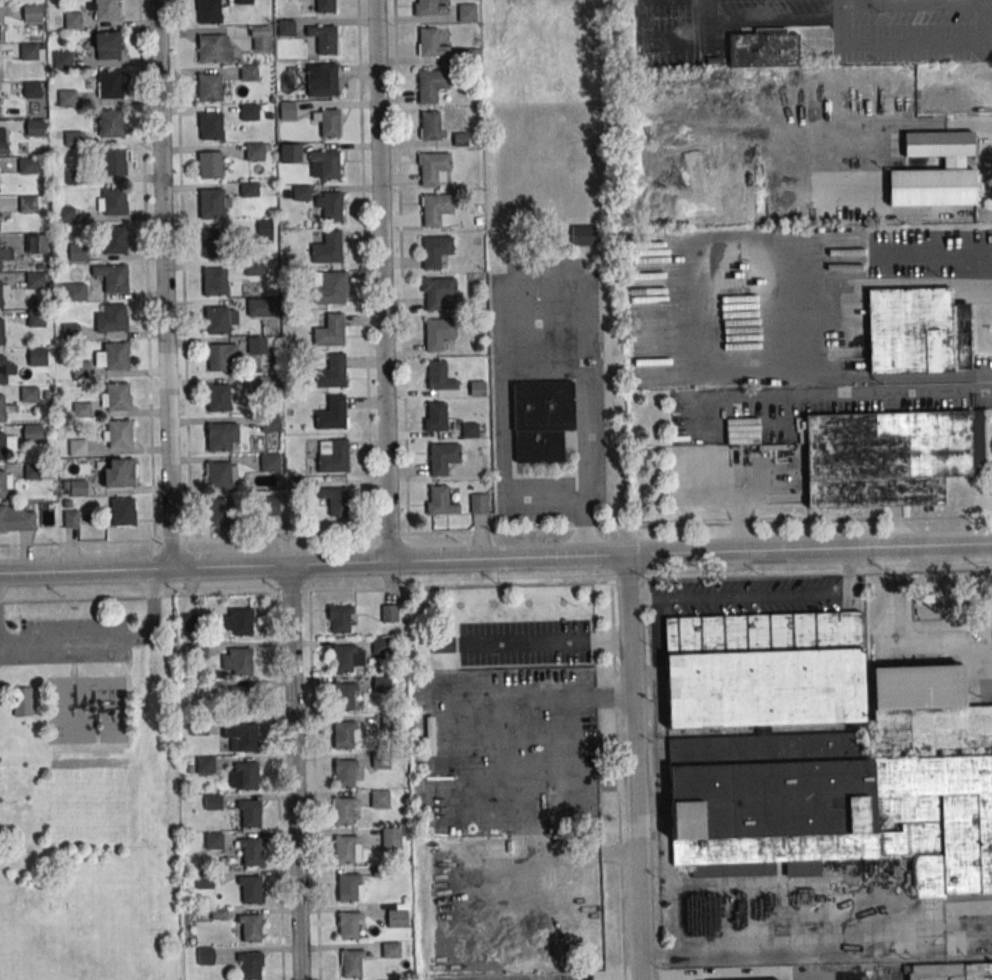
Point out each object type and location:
road: (861, 3)
building: (324, 6)
building: (105, 9)
building: (430, 9)
building: (209, 11)
building: (465, 12)
building: (31, 14)
road: (840, 14)
building: (71, 21)
road: (987, 25)
building: (286, 28)
building: (260, 37)
building: (322, 40)
building: (430, 44)
building: (106, 45)
road: (905, 45)
building: (209, 48)
building: (762, 48)
building: (28, 52)
building: (62, 61)
building: (248, 73)
building: (320, 79)
building: (110, 84)
building: (431, 85)
building: (208, 88)
building: (31, 90)
building: (937, 97)
building: (67, 99)
building: (884, 105)
building: (286, 110)
building: (249, 113)
building: (327, 122)
building: (110, 123)
building: (210, 125)
building: (429, 125)
building: (33, 128)
building: (460, 139)
building: (72, 140)
building: (3, 141)
building: (253, 151)
building: (289, 153)
building: (113, 161)
road: (819, 162)
building: (209, 164)
building: (326, 164)
building: (26, 166)
building: (433, 168)
building: (935, 170)
building: (74, 178)
building: (248, 190)
building: (301, 194)
building: (114, 200)
building: (211, 203)
building: (27, 205)
building: (329, 205)
building: (435, 210)
building: (64, 215)
building: (264, 230)
building: (114, 240)
building: (36, 242)
building: (213, 243)
building: (327, 247)
building: (5, 251)
building: (435, 251)
building: (77, 253)
building: (725, 263)
road: (401, 266)
road: (364, 267)
building: (252, 268)
road: (146, 270)
road: (182, 270)
building: (115, 278)
road: (382, 281)
building: (34, 282)
building: (214, 282)
road: (164, 284)
road: (888, 286)
building: (329, 287)
building: (252, 288)
road: (696, 289)
building: (76, 292)
building: (438, 294)
building: (0, 295)
building: (256, 308)
building: (114, 317)
building: (35, 319)
building: (217, 320)
building: (329, 330)
building: (1, 331)
building: (917, 331)
building: (70, 333)
road: (789, 333)
building: (437, 335)
building: (256, 346)
building: (116, 355)
building: (217, 357)
building: (37, 358)
road: (524, 359)
building: (2, 369)
building: (81, 371)
building: (331, 372)
road: (893, 375)
building: (438, 376)
building: (268, 383)
building: (477, 388)
building: (28, 395)
road: (822, 395)
building: (118, 396)
building: (217, 397)
building: (2, 408)
building: (81, 411)
building: (331, 413)
building: (434, 416)
building: (541, 421)
building: (268, 424)
building: (469, 430)
building: (32, 433)
building: (119, 433)
building: (218, 436)
building: (2, 447)
building: (77, 448)
building: (332, 455)
building: (885, 457)
building: (442, 458)
building: (269, 462)
building: (32, 472)
building: (118, 473)
building: (218, 476)
building: (2, 484)
building: (77, 489)
building: (334, 500)
building: (439, 501)
building: (478, 503)
building: (270, 507)
building: (122, 511)
building: (220, 512)
building: (15, 518)
building: (71, 519)
road: (495, 530)
road: (496, 558)
road: (456, 586)
building: (389, 613)
building: (340, 618)
building: (188, 621)
building: (242, 621)
road: (103, 638)
road: (545, 642)
building: (442, 643)
building: (380, 645)
road: (895, 647)
building: (198, 650)
building: (343, 658)
building: (241, 661)
building: (763, 669)
building: (381, 684)
building: (344, 696)
building: (242, 700)
building: (22, 701)
building: (925, 710)
building: (389, 722)
building: (198, 726)
building: (343, 734)
building: (246, 738)
building: (380, 759)
building: (205, 764)
road: (276, 767)
road: (634, 767)
road: (295, 772)
building: (345, 773)
building: (247, 776)
park: (88, 793)
building: (379, 798)
building: (212, 802)
building: (343, 811)
building: (250, 813)
building: (390, 836)
building: (213, 841)
building: (344, 849)
building: (252, 852)
building: (204, 879)
building: (347, 887)
building: (251, 890)
road: (969, 907)
building: (395, 918)
building: (348, 925)
building: (251, 928)
building: (390, 950)
building: (205, 956)
building: (352, 963)
building: (250, 967)
building: (952, 971)
road: (726, 974)
building: (749, 979)

